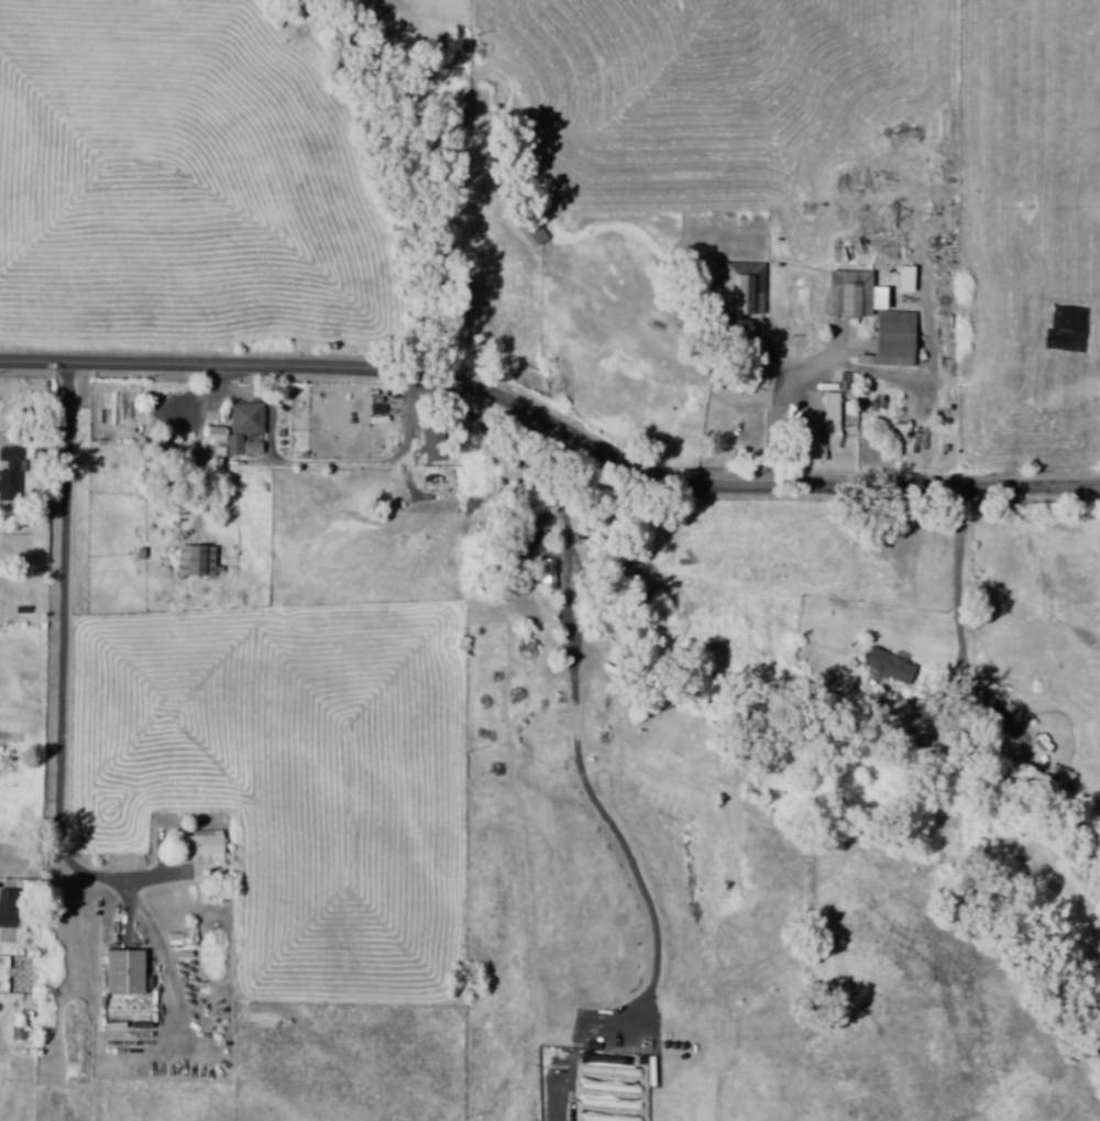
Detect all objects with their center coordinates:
building: (900, 278)
building: (739, 288)
building: (174, 418)
road: (551, 424)
building: (244, 425)
building: (813, 431)
building: (1099, 432)
building: (11, 473)
building: (198, 559)
building: (544, 571)
road: (66, 658)
building: (884, 664)
building: (204, 847)
building: (9, 908)
building: (125, 971)

